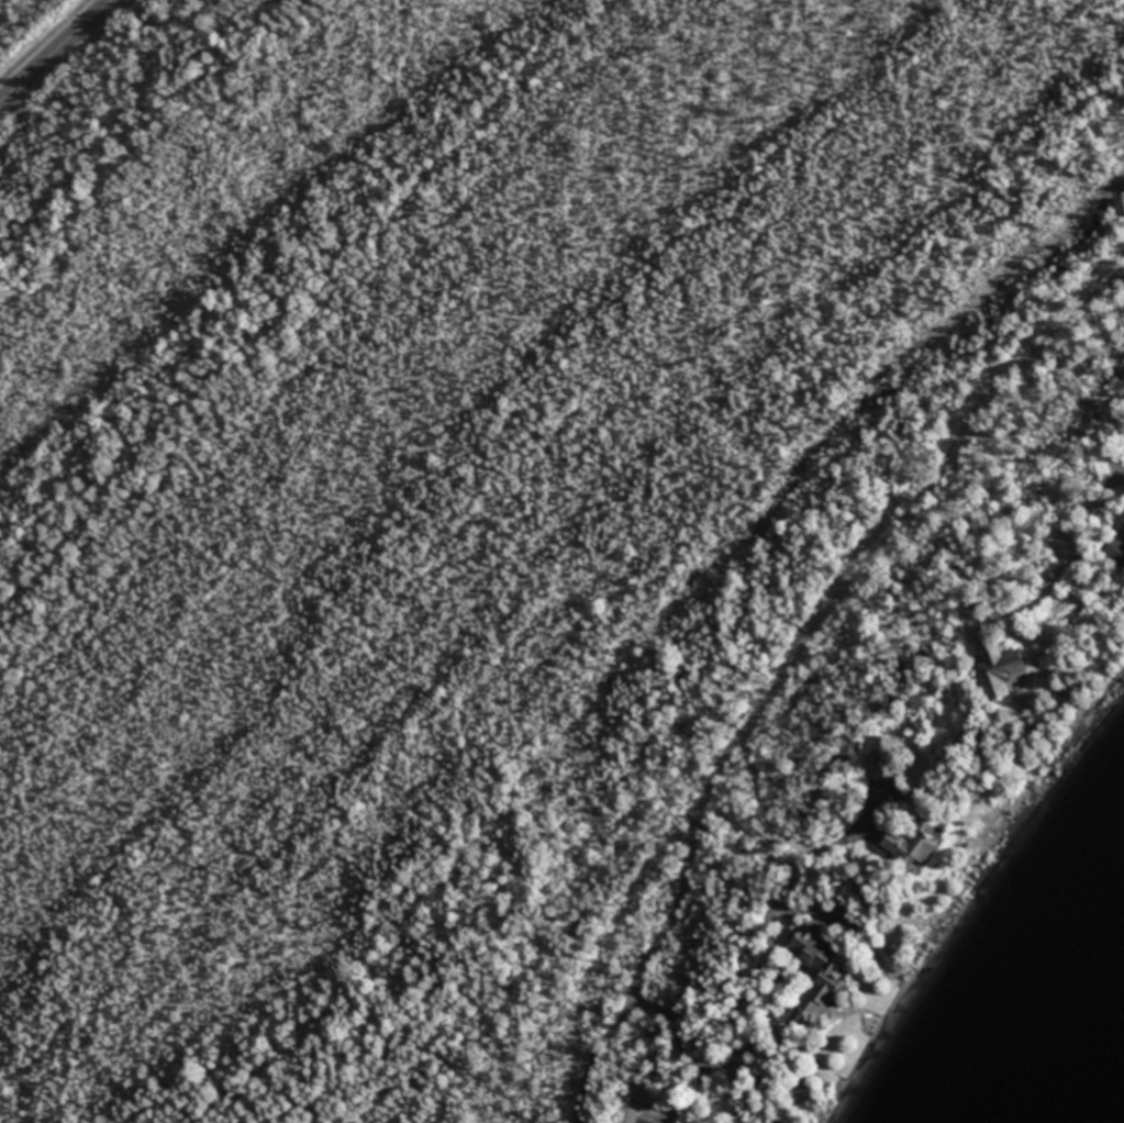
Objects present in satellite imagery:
road: (56, 53)
building: (1121, 516)
road: (799, 663)
building: (1000, 669)
building: (883, 754)
building: (915, 848)
building: (814, 967)

